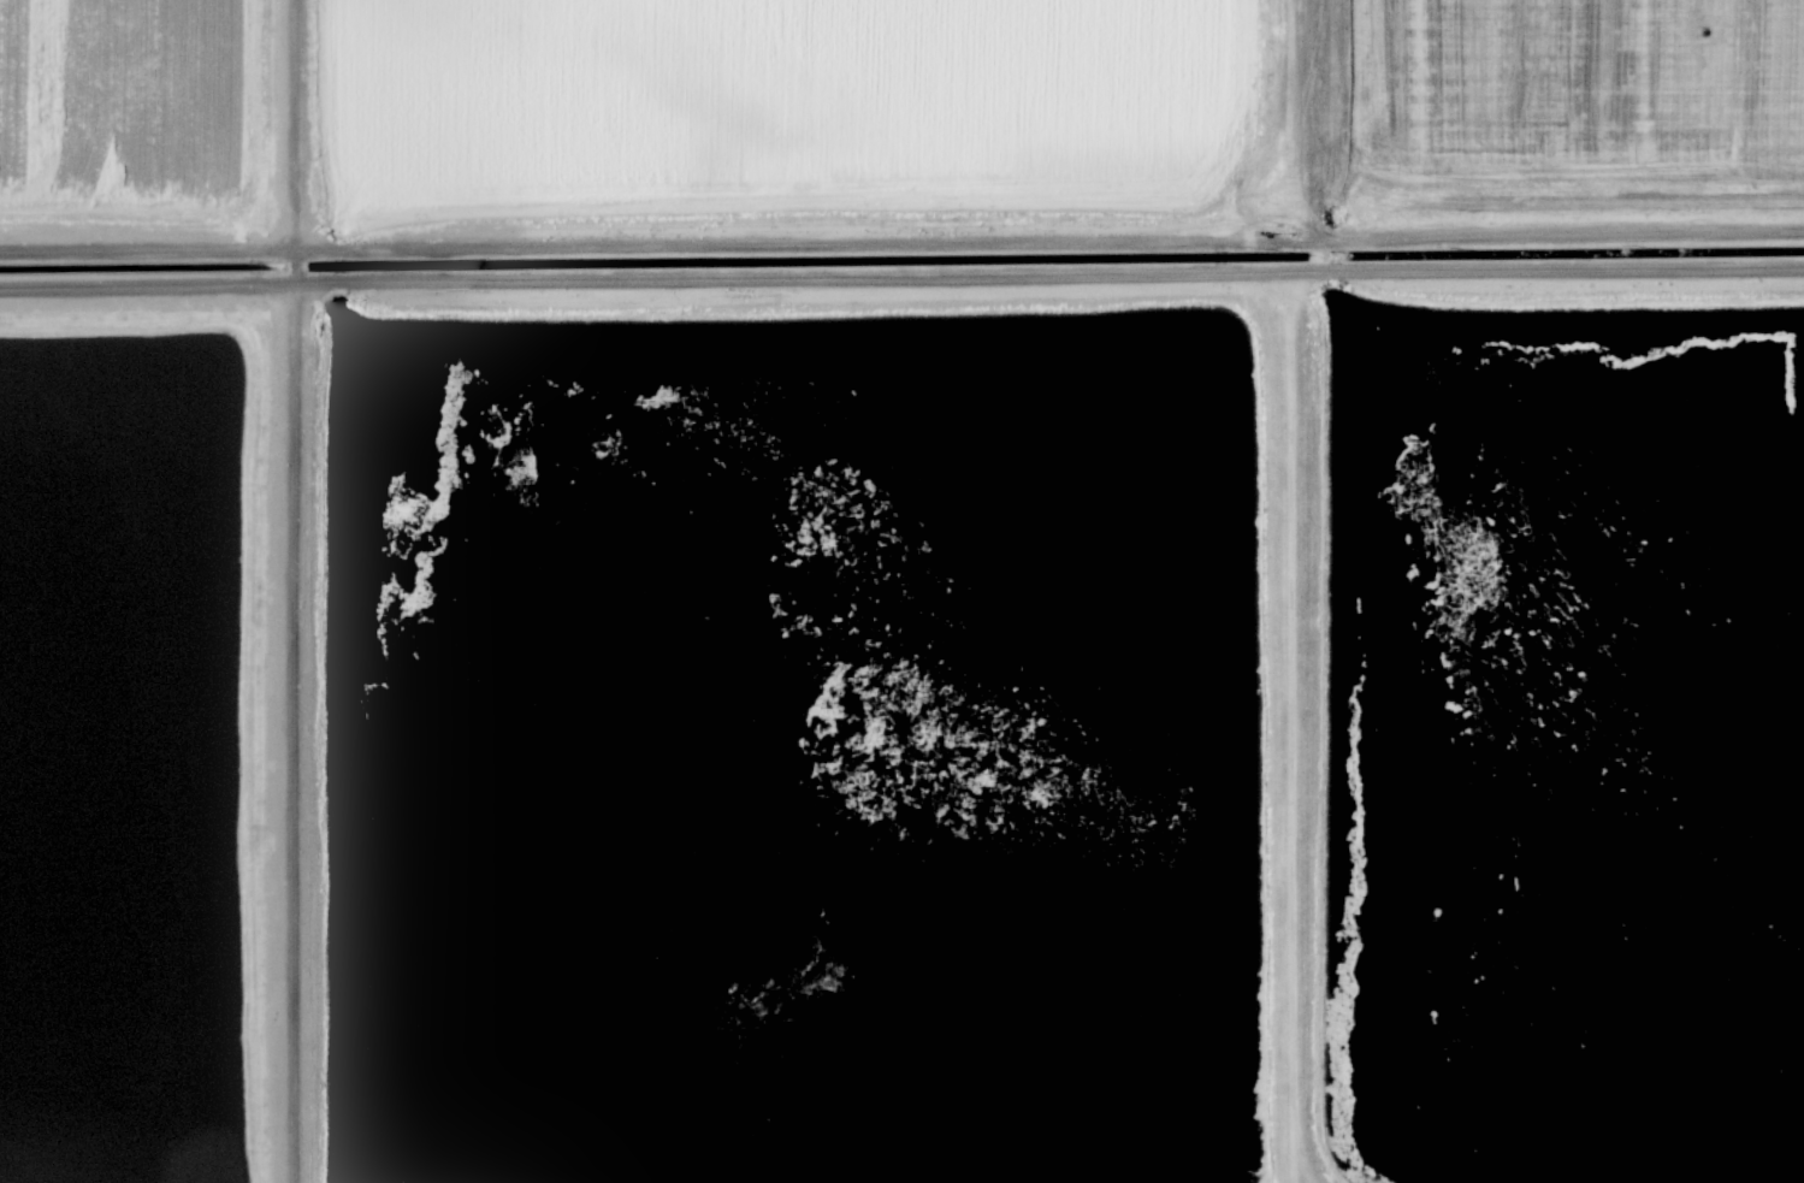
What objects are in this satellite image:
wastewater plant: (1575, 90)
wastewater plant: (781, 94)
wastewater plant: (118, 96)
road: (1285, 108)
road: (1284, 217)
road: (901, 243)
road: (901, 276)
road: (291, 591)
wastewater plant: (901, 591)
road: (1290, 727)
wastewater plant: (1571, 745)
wastewater plant: (797, 751)
wastewater plant: (118, 755)

